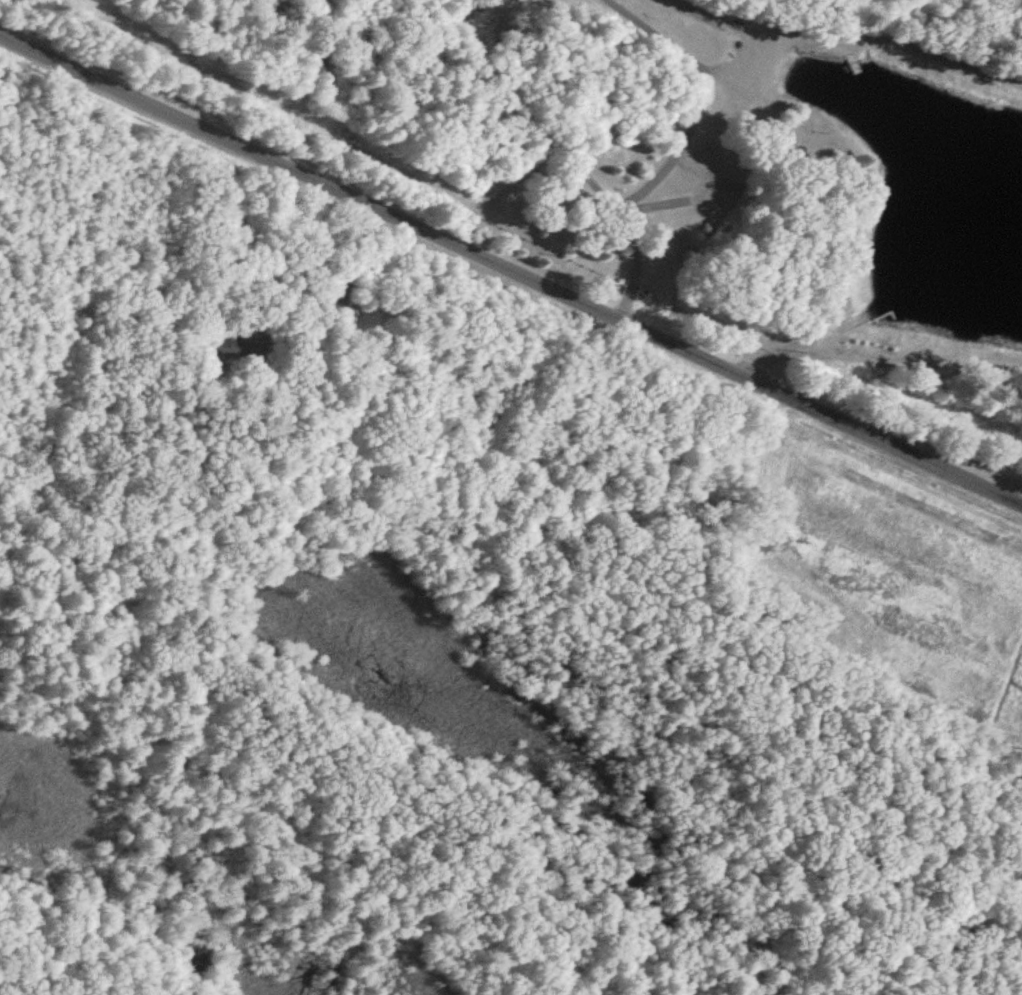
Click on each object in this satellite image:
road: (511, 269)
building: (229, 347)

